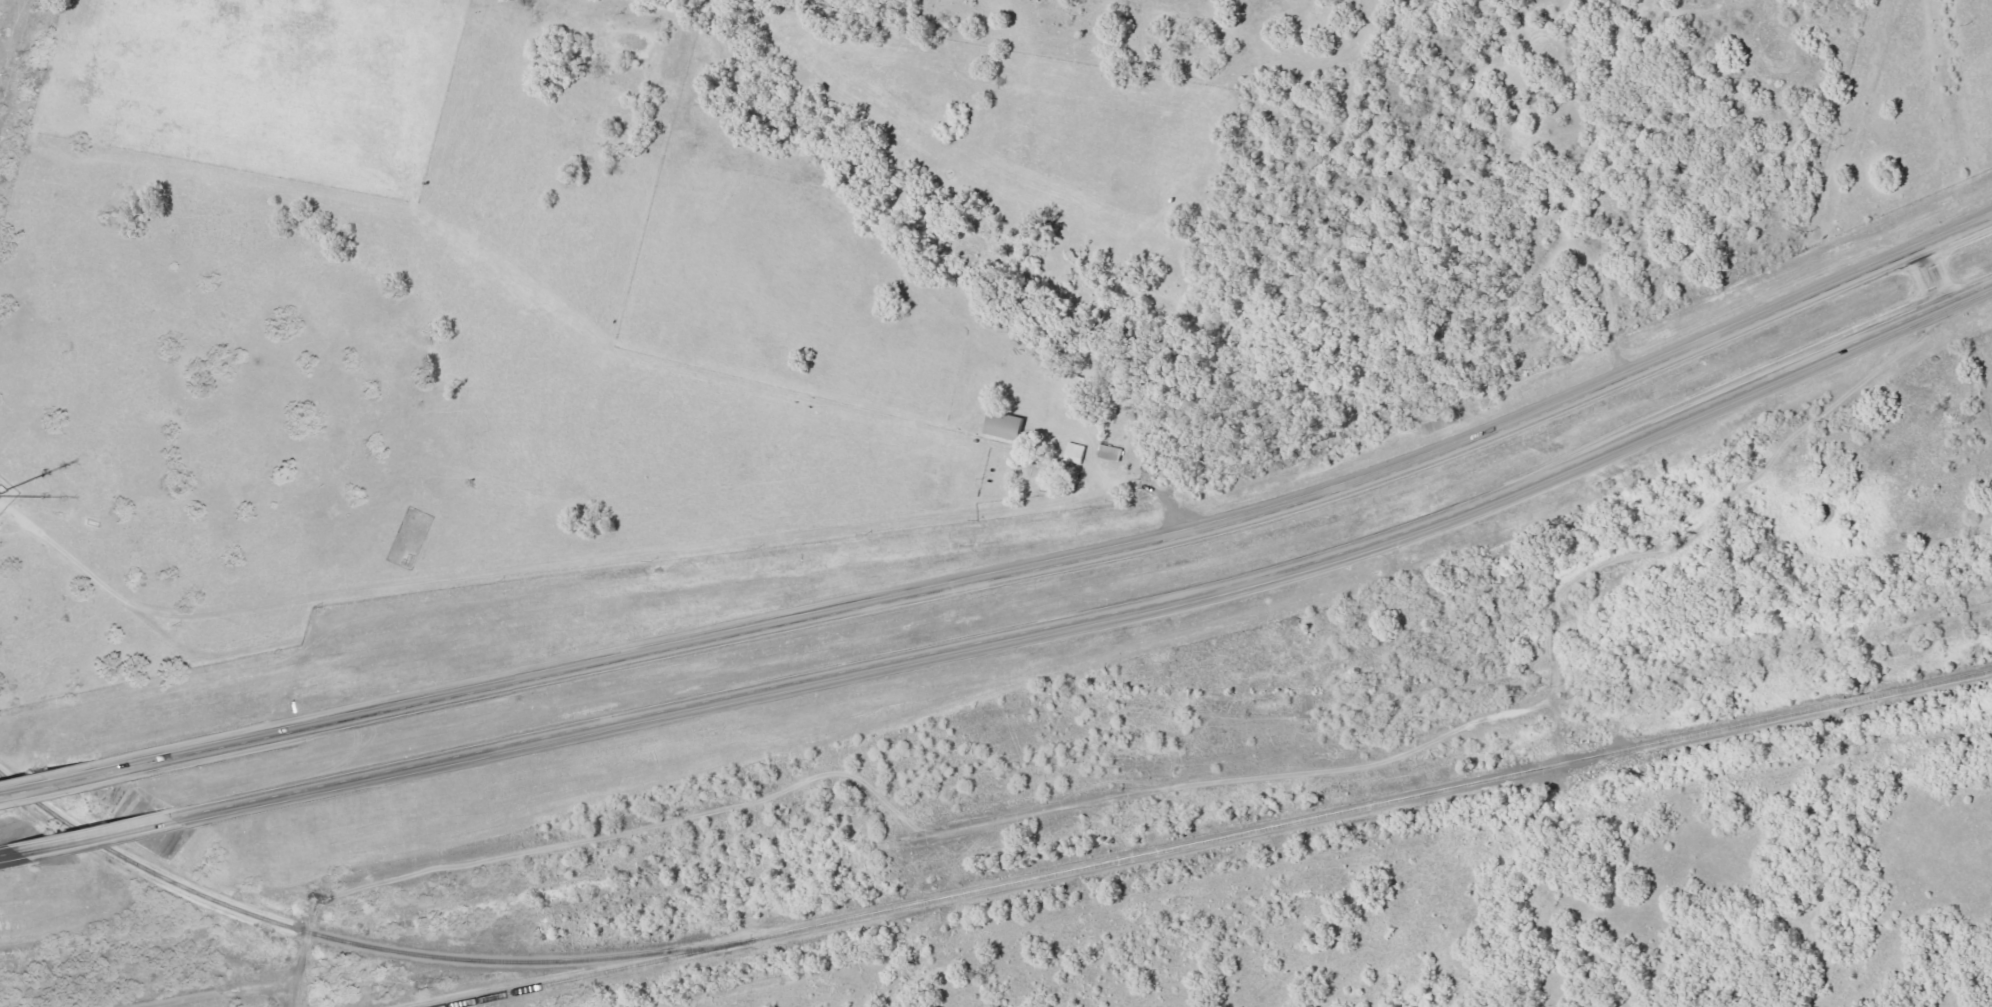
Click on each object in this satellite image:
building: (1079, 384)
building: (1001, 426)
building: (1073, 453)
building: (1108, 453)
building: (416, 520)
road: (1077, 564)
road: (1102, 617)
road: (61, 784)
railway: (1374, 804)
road: (91, 836)
road: (6, 854)
railway: (357, 943)
railway: (595, 973)

